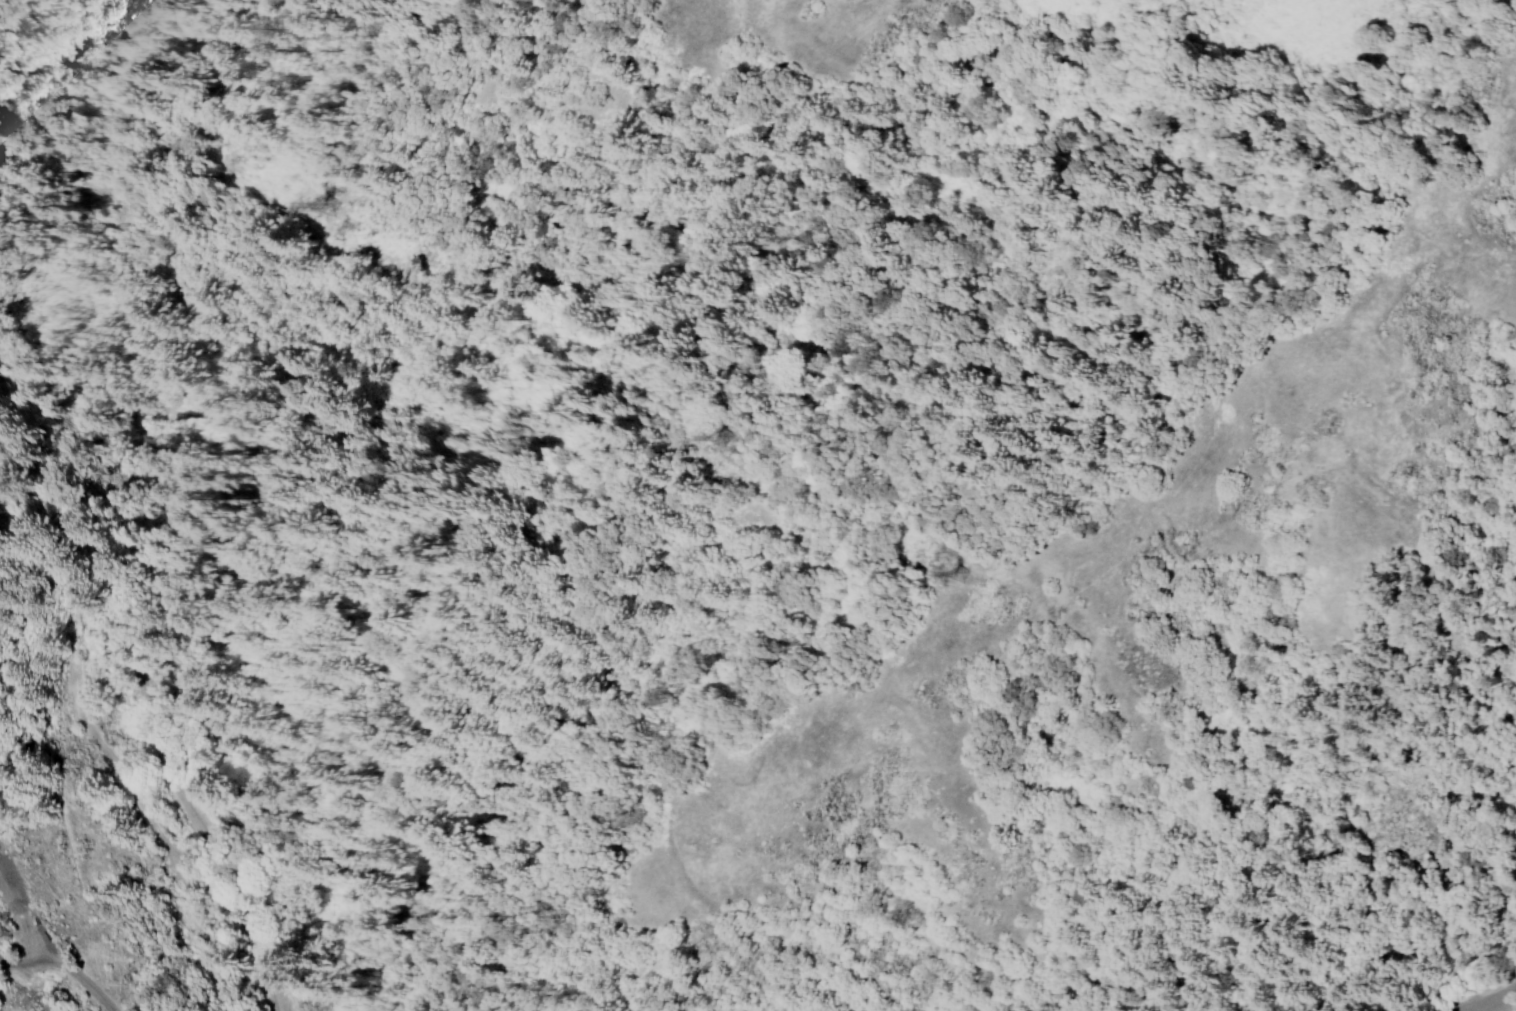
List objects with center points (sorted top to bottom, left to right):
power tower: (332, 205)
power tower: (734, 437)
power tower: (966, 576)
road: (162, 739)
road: (1488, 995)

